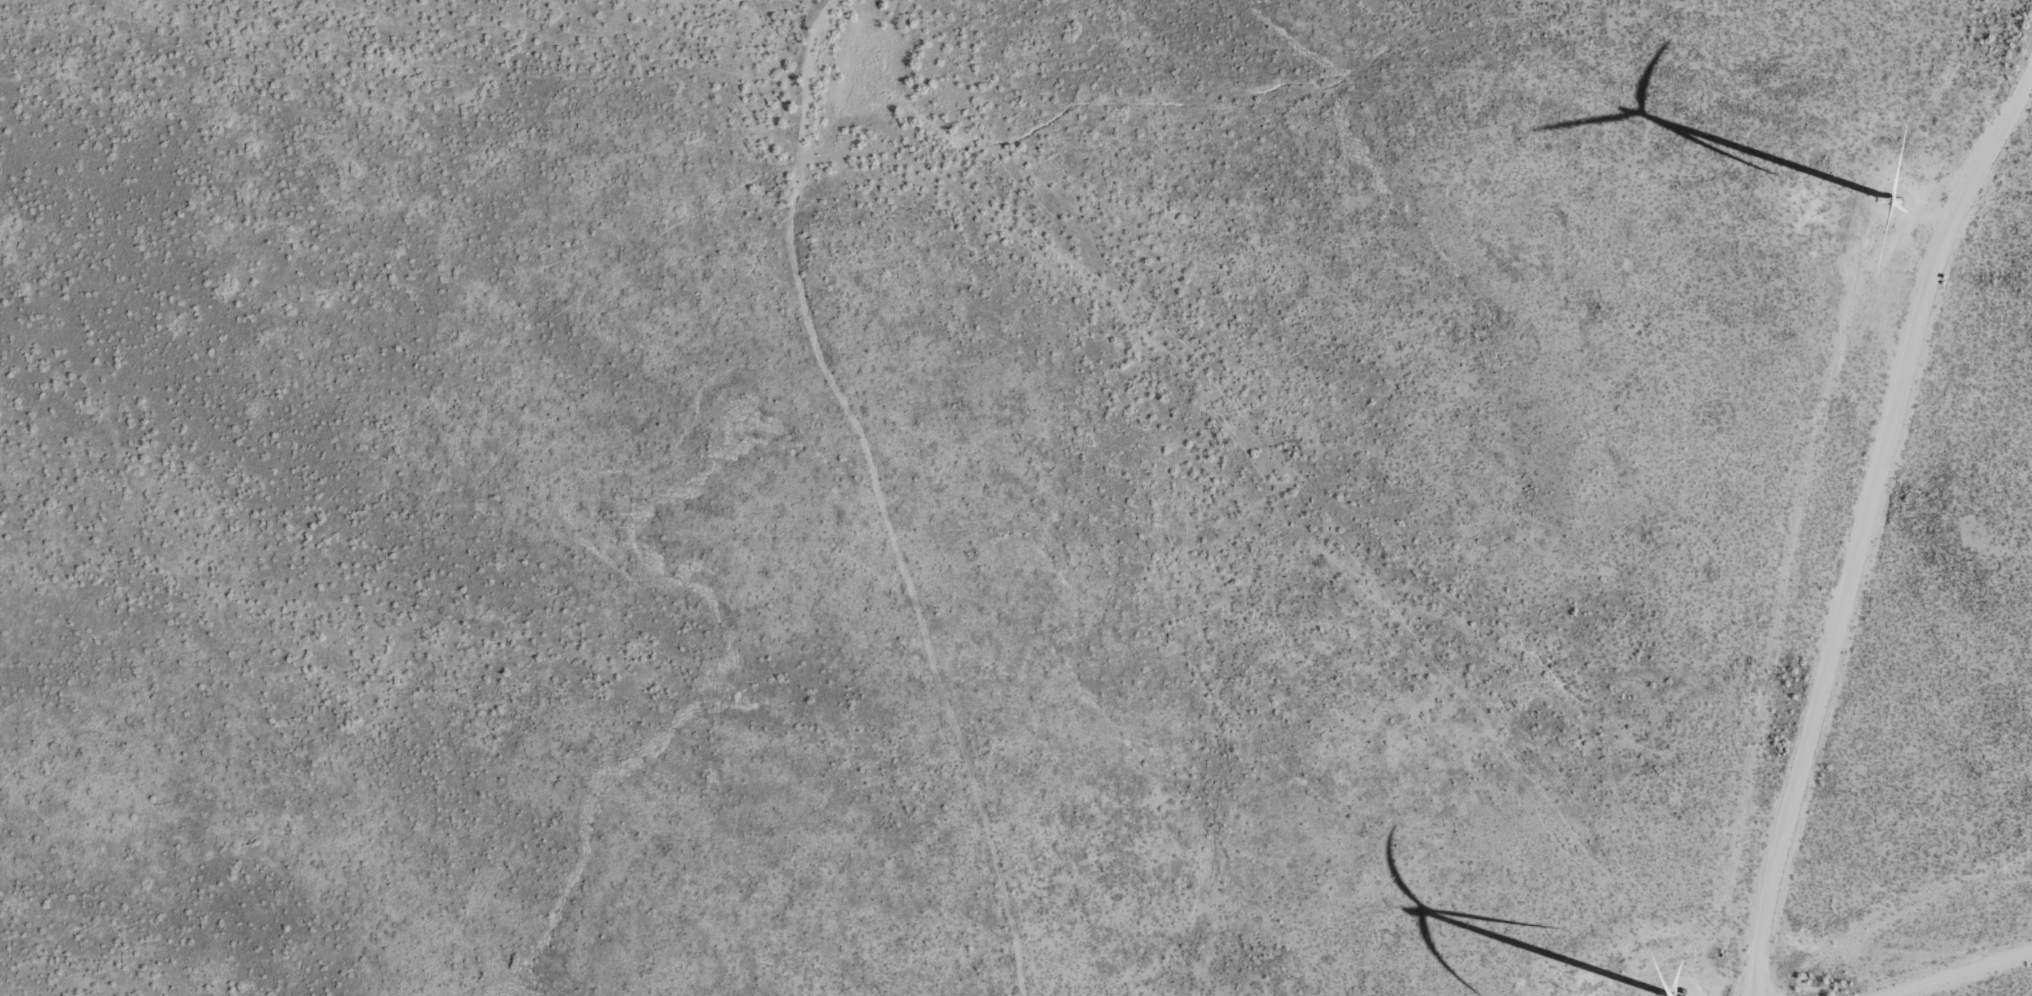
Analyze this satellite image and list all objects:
wind turbine: (1883, 199)

